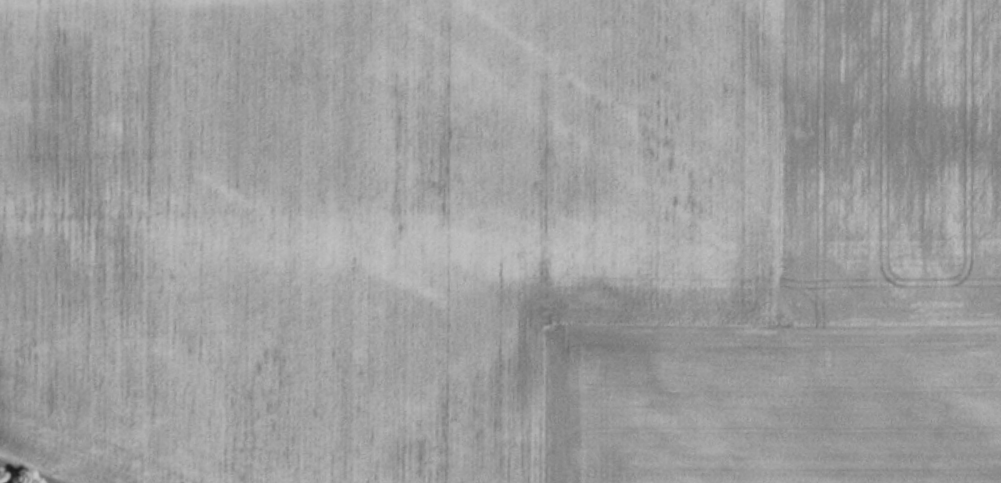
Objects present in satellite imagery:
road: (23, 473)

